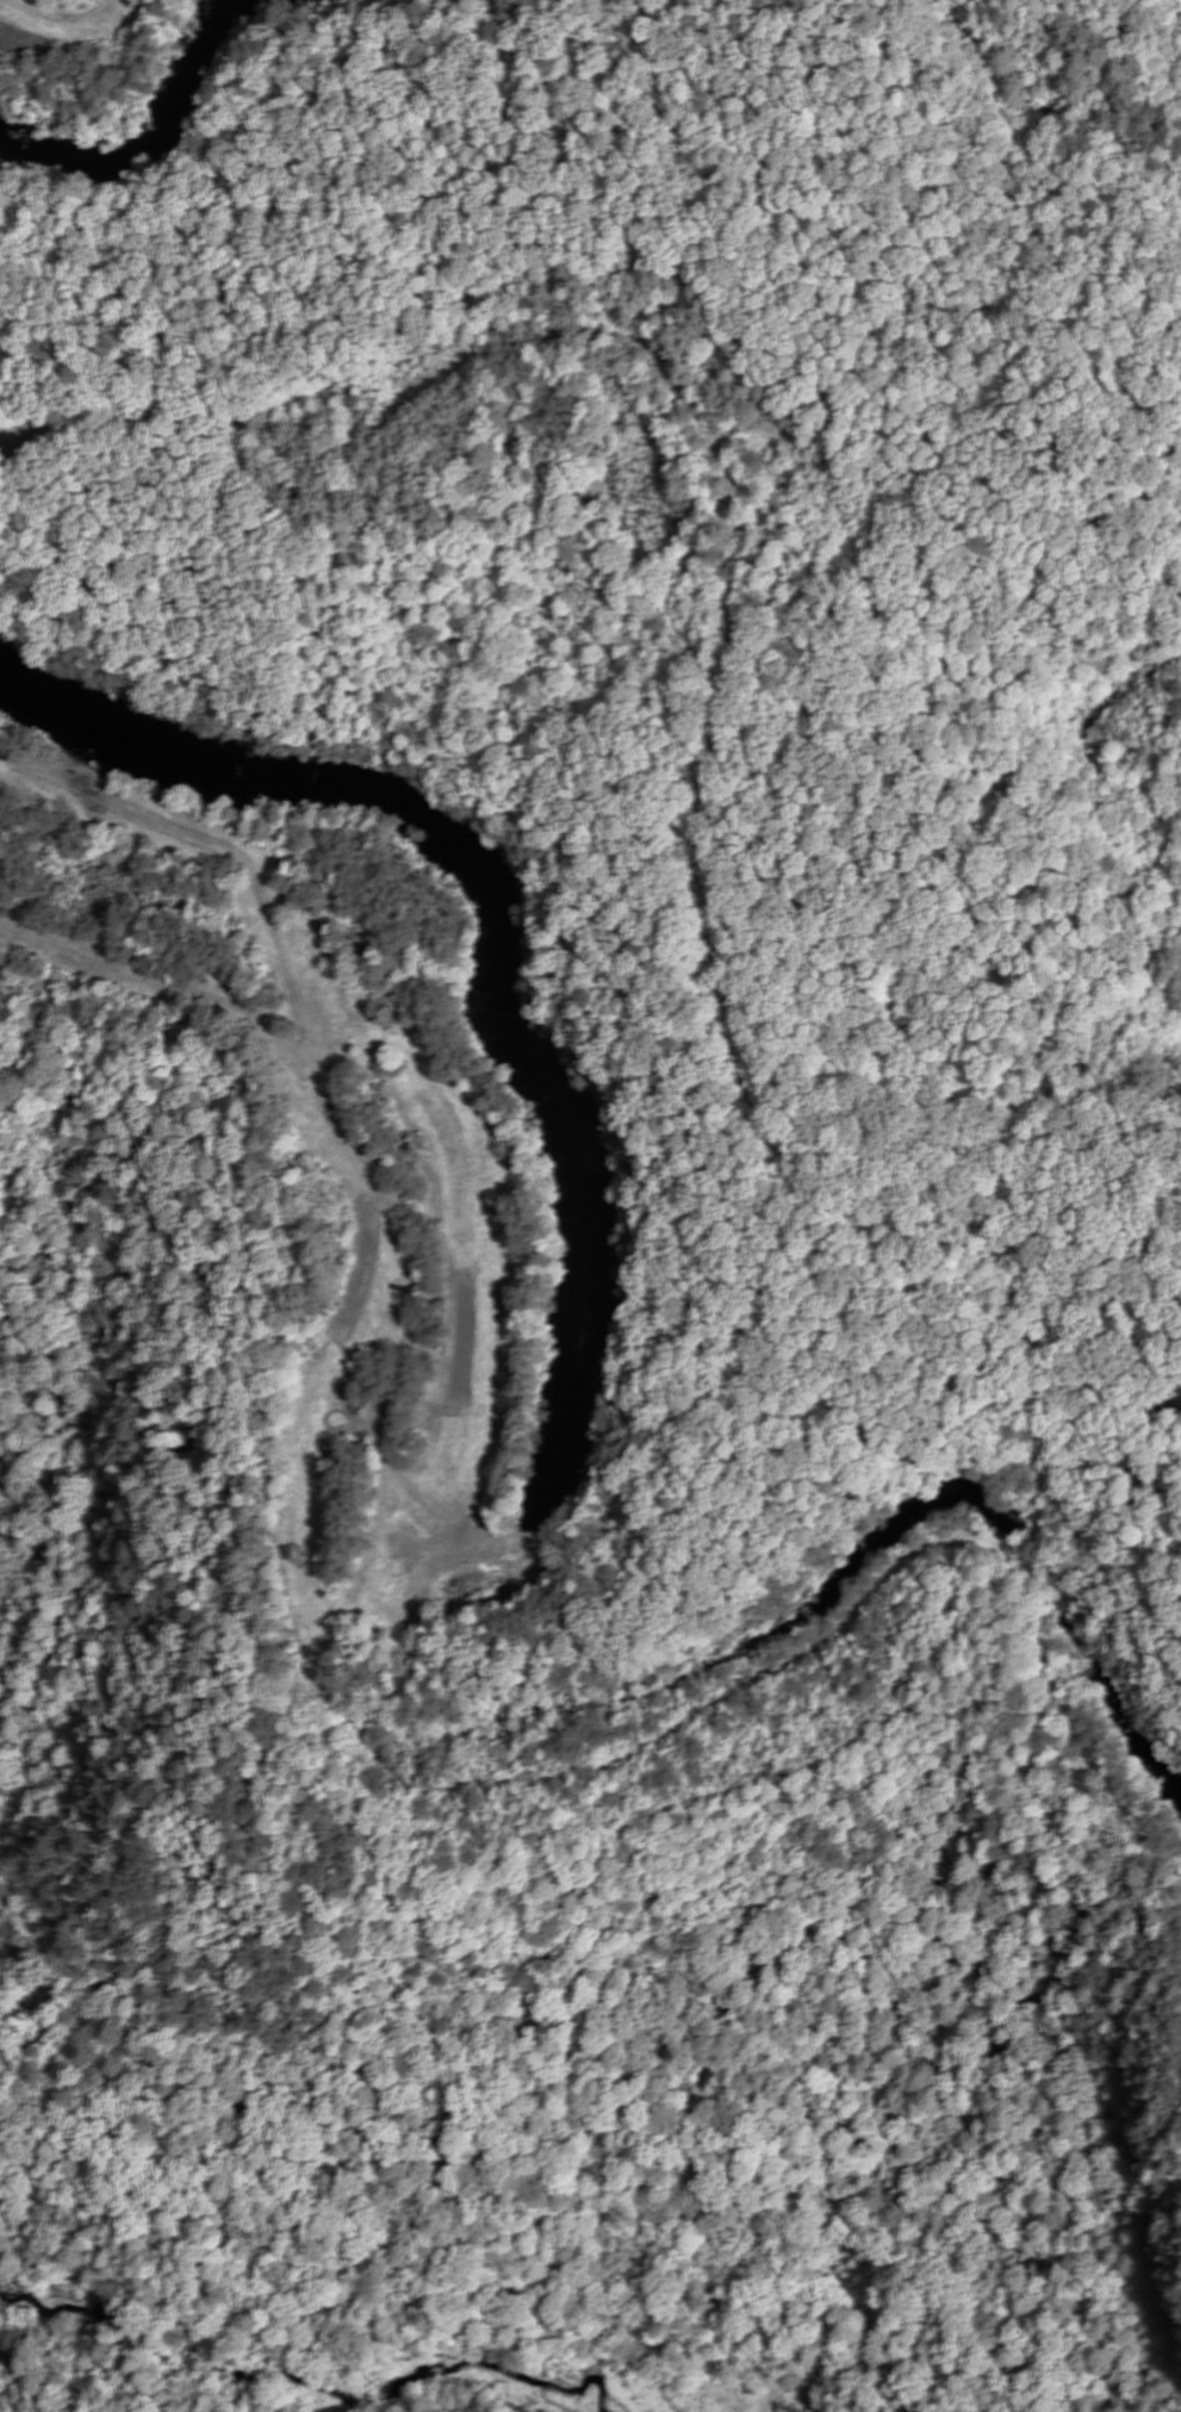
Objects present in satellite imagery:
road: (85, 952)

